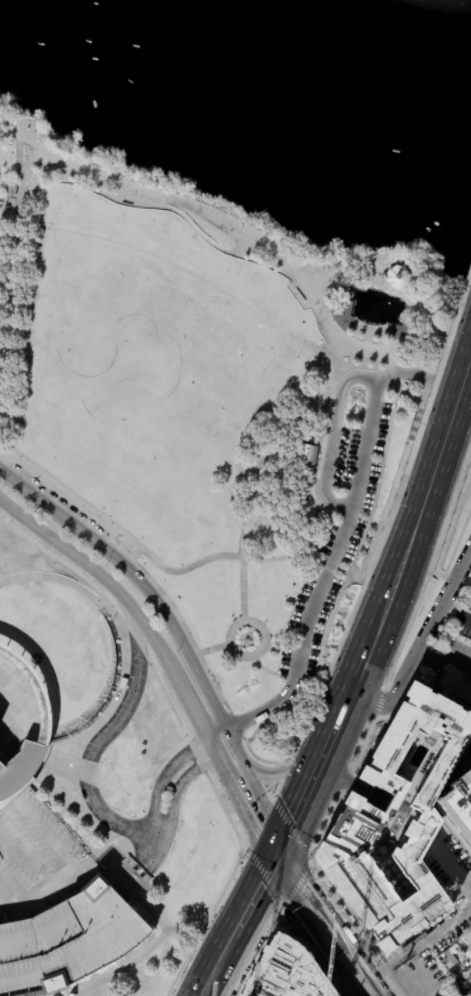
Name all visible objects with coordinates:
river: (273, 81)
road: (30, 119)
road: (19, 140)
road: (31, 147)
road: (19, 156)
road: (11, 186)
building: (10, 191)
road: (8, 196)
road: (15, 196)
road: (164, 205)
road: (195, 229)
road: (253, 240)
road: (236, 247)
road: (363, 261)
road: (12, 267)
road: (339, 273)
building: (397, 277)
road: (321, 278)
road: (416, 283)
road: (415, 290)
fountain: (403, 305)
road: (417, 313)
road: (432, 316)
pier: (359, 322)
road: (419, 339)
road: (340, 352)
road: (443, 354)
road: (386, 356)
road: (389, 364)
road: (434, 366)
road: (393, 374)
road: (429, 379)
road: (424, 392)
road: (410, 394)
road: (448, 397)
park: (211, 406)
road: (448, 426)
road: (332, 437)
building: (306, 454)
road: (316, 475)
road: (262, 476)
road: (378, 480)
parking lot: (57, 499)
parking lot: (339, 507)
road: (384, 510)
road: (392, 510)
road: (345, 524)
road: (450, 525)
road: (117, 530)
road: (456, 542)
road: (282, 557)
road: (431, 560)
road: (327, 568)
road: (73, 572)
road: (340, 574)
road: (100, 575)
road: (56, 579)
road: (151, 594)
road: (165, 596)
road: (388, 602)
road: (352, 613)
road: (455, 613)
building: (78, 619)
parking lot: (463, 623)
park: (62, 633)
road: (420, 643)
road: (448, 646)
road: (213, 649)
road: (197, 654)
road: (192, 655)
road: (250, 655)
road: (266, 670)
road: (315, 673)
road: (293, 678)
road: (303, 679)
road: (319, 680)
road: (214, 683)
building: (456, 684)
railway: (356, 690)
road: (164, 692)
building: (39, 693)
road: (382, 699)
parking lot: (118, 707)
road: (49, 716)
road: (235, 724)
road: (199, 728)
road: (300, 732)
road: (83, 733)
road: (217, 735)
road: (99, 742)
road: (363, 743)
road: (33, 747)
road: (32, 750)
road: (41, 752)
road: (43, 752)
parking lot: (469, 752)
road: (53, 757)
road: (285, 767)
building: (18, 770)
road: (276, 775)
road: (311, 781)
road: (346, 782)
road: (278, 787)
building: (456, 806)
parking lot: (89, 808)
road: (153, 809)
road: (258, 812)
building: (362, 812)
road: (260, 822)
road: (293, 823)
road: (326, 823)
road: (170, 824)
road: (114, 847)
traffic signals: (278, 855)
parking lot: (36, 862)
road: (112, 867)
road: (70, 870)
road: (456, 870)
road: (233, 872)
building: (134, 875)
road: (265, 879)
road: (298, 881)
road: (124, 886)
parking lot: (451, 891)
road: (274, 895)
road: (256, 896)
road: (290, 897)
road: (310, 903)
road: (288, 911)
road: (286, 912)
road: (151, 913)
road: (278, 915)
road: (287, 915)
park: (468, 942)
building: (70, 944)
parking lot: (70, 944)
road: (152, 948)
building: (280, 952)
road: (423, 954)
road: (220, 966)
building: (457, 966)
park: (144, 971)
road: (358, 973)
building: (288, 976)
road: (110, 986)

